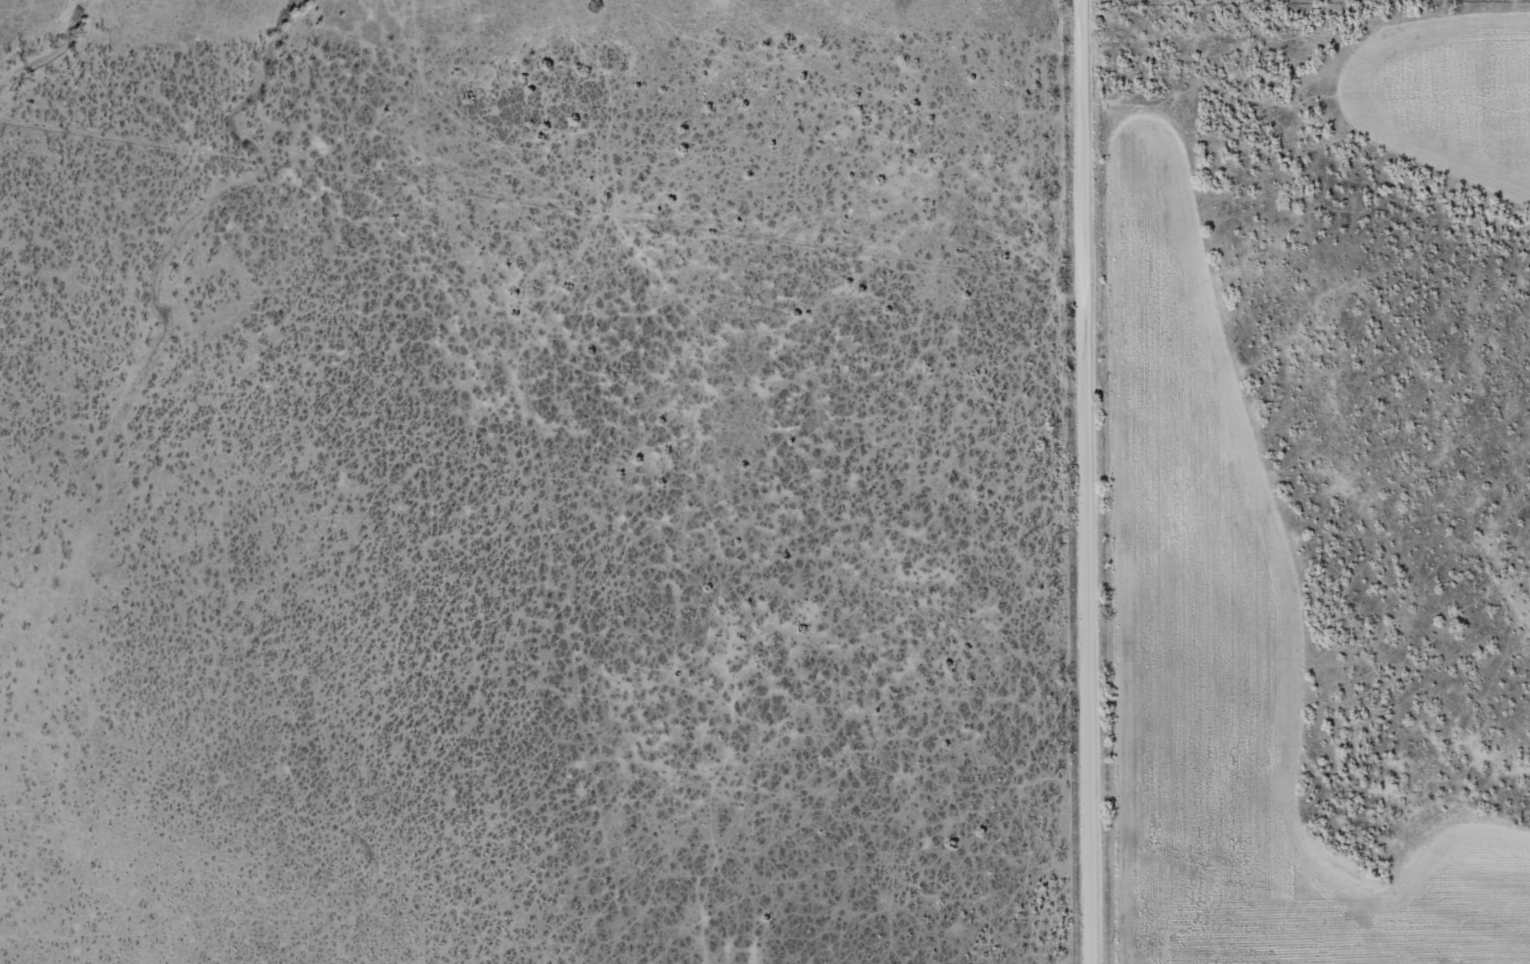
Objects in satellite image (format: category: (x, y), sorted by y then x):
road: (1087, 482)

